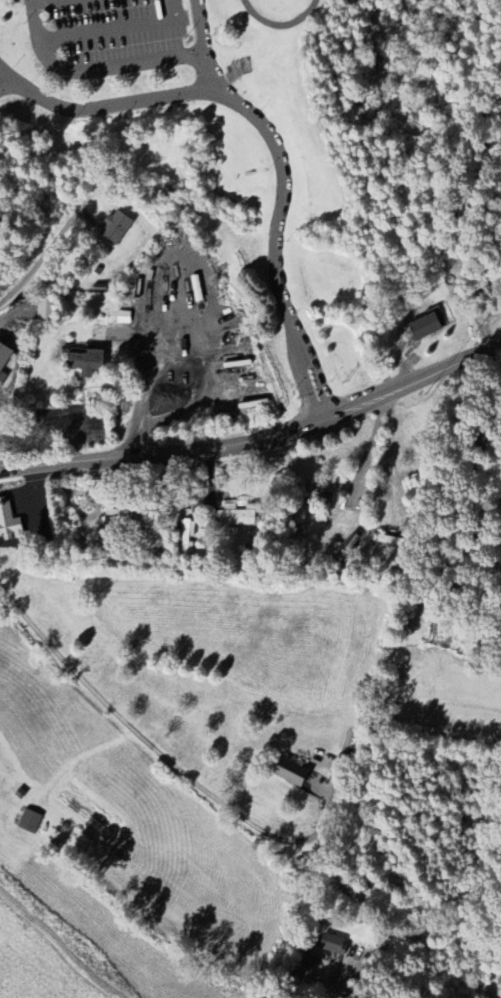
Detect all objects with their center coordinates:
road: (45, 2)
track: (304, 16)
road: (201, 25)
road: (117, 28)
road: (3, 71)
road: (94, 71)
road: (211, 72)
road: (3, 79)
road: (271, 137)
building: (116, 228)
road: (44, 254)
road: (478, 294)
building: (45, 310)
building: (426, 326)
building: (86, 363)
road: (495, 366)
road: (259, 443)
road: (389, 446)
road: (368, 448)
building: (237, 518)
building: (126, 522)
building: (9, 525)
road: (153, 742)
building: (290, 773)
building: (29, 822)
building: (332, 945)
building: (309, 969)
road: (347, 991)

